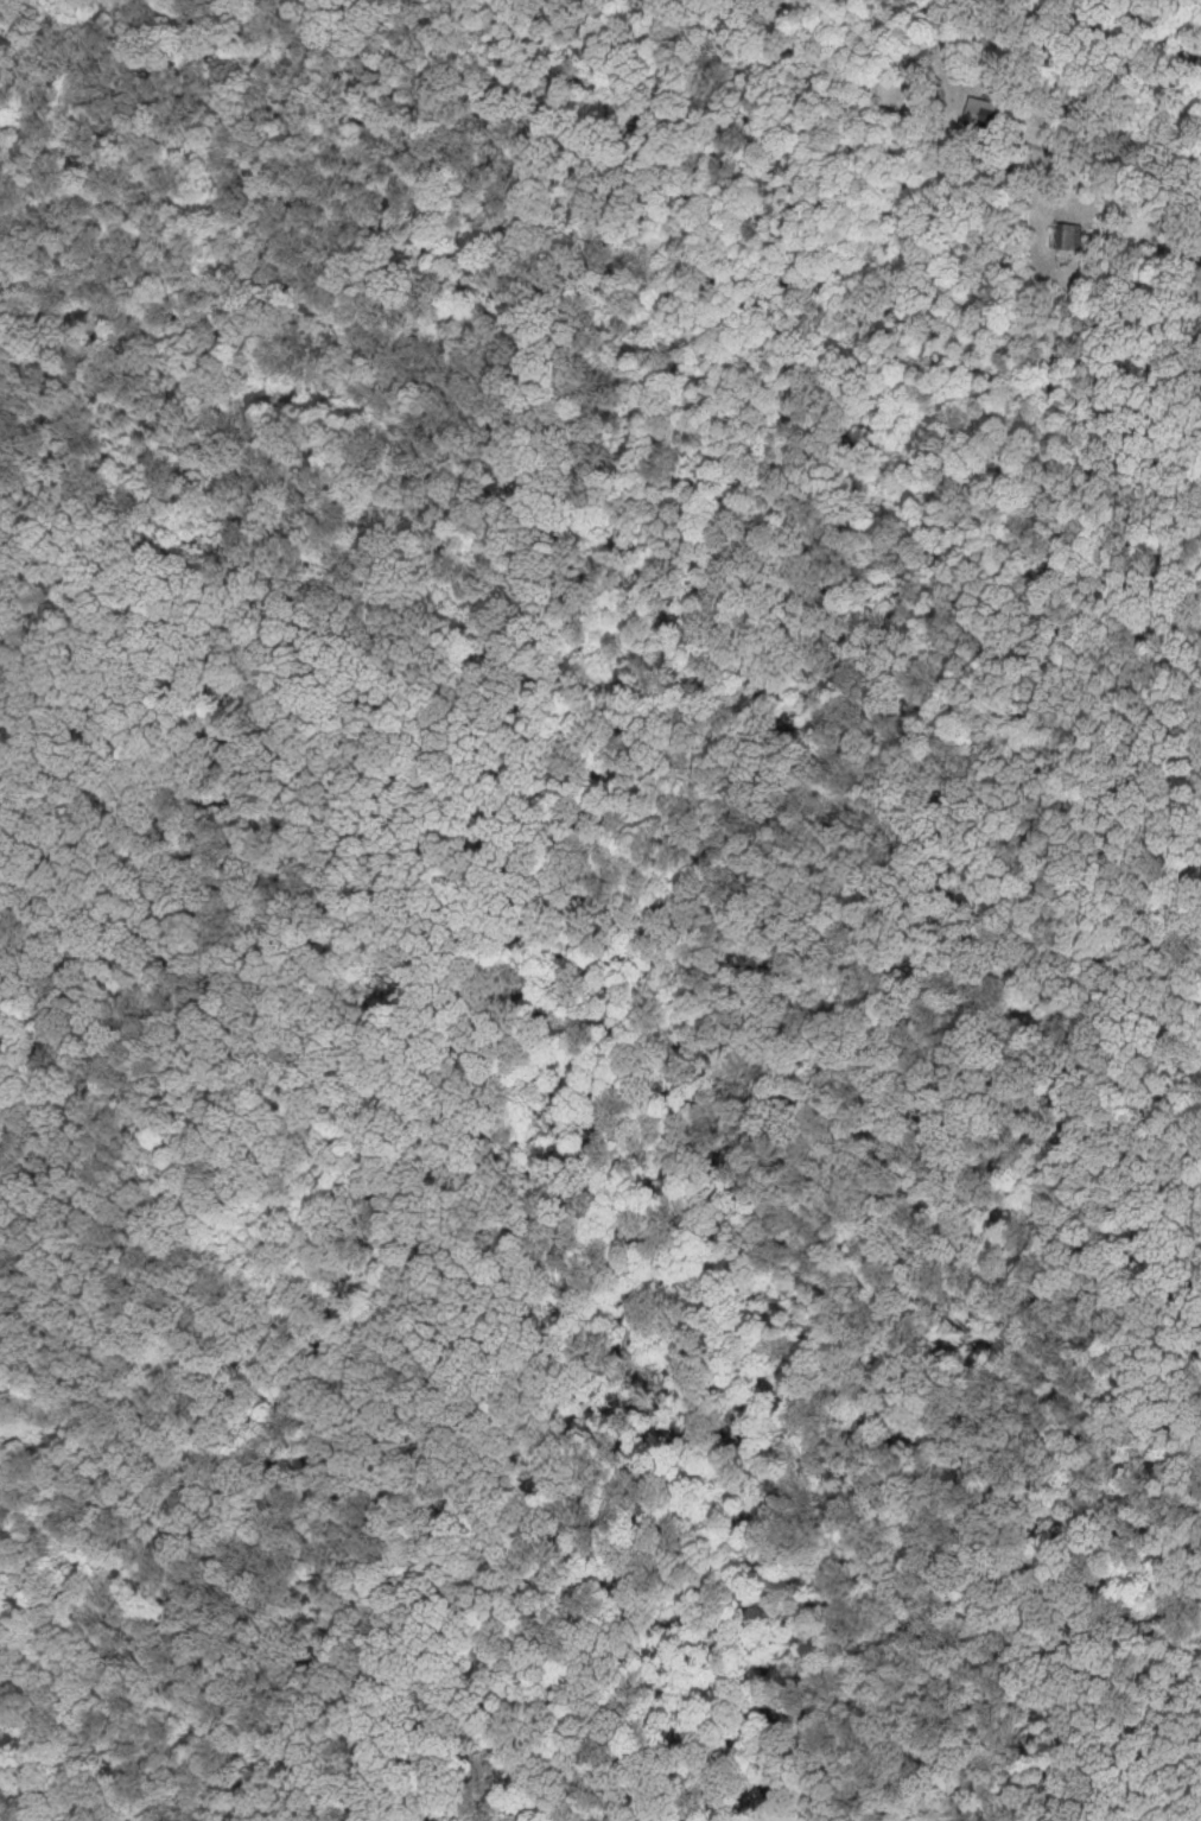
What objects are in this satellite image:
road: (224, 93)
road: (1130, 106)
road: (924, 137)
road: (1129, 186)

